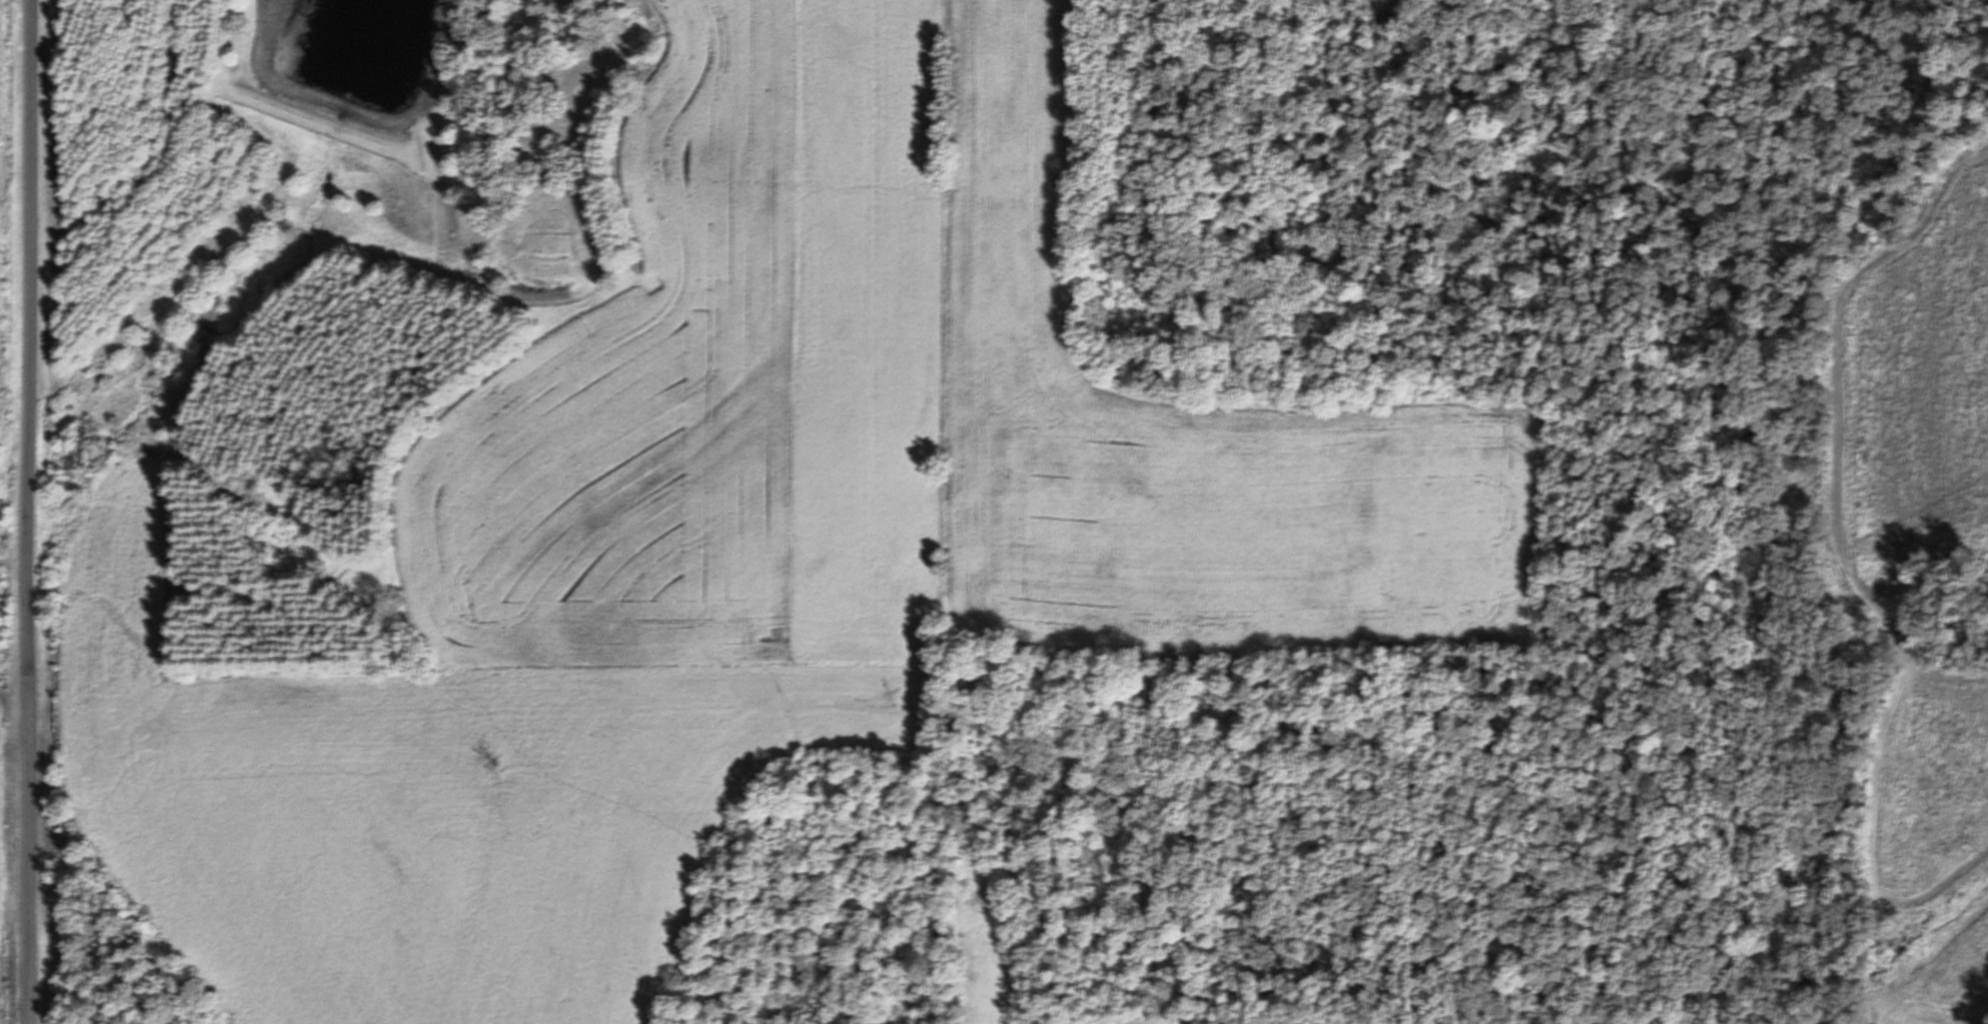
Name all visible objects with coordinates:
road: (27, 511)

